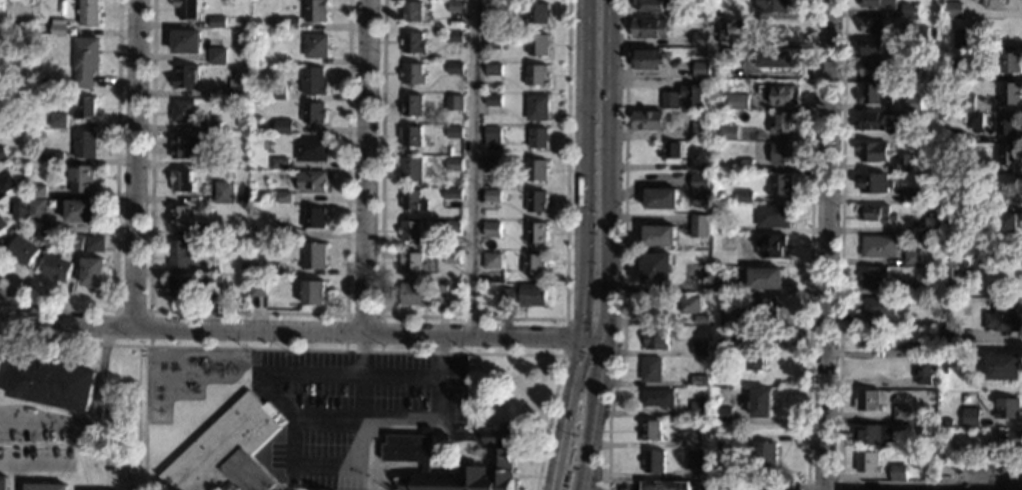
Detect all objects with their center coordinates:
building: (878, 3)
building: (990, 3)
building: (652, 5)
building: (459, 6)
building: (773, 6)
building: (190, 9)
building: (493, 9)
building: (318, 10)
building: (910, 10)
building: (954, 10)
building: (415, 12)
building: (91, 13)
building: (717, 13)
building: (540, 14)
building: (220, 22)
building: (293, 23)
building: (947, 23)
building: (975, 25)
building: (875, 26)
building: (61, 27)
building: (651, 28)
building: (730, 28)
building: (919, 33)
building: (456, 37)
building: (702, 39)
building: (962, 39)
building: (189, 41)
building: (494, 41)
building: (718, 41)
building: (416, 43)
building: (540, 44)
building: (319, 46)
building: (871, 47)
building: (1, 48)
building: (219, 55)
building: (918, 56)
building: (650, 59)
building: (776, 59)
building: (87, 61)
building: (1010, 63)
building: (457, 68)
building: (873, 68)
building: (495, 69)
building: (702, 69)
building: (724, 70)
building: (415, 74)
building: (917, 74)
building: (979, 74)
building: (539, 75)
building: (188, 76)
building: (316, 81)
building: (240, 88)
building: (281, 92)
building: (1011, 93)
building: (875, 94)
building: (786, 95)
building: (694, 96)
building: (495, 100)
building: (672, 100)
building: (739, 102)
building: (967, 102)
building: (456, 103)
building: (914, 103)
building: (415, 105)
building: (539, 108)
building: (88, 109)
building: (185, 111)
building: (316, 112)
building: (648, 120)
building: (975, 120)
building: (61, 121)
building: (871, 121)
building: (785, 123)
building: (1007, 123)
building: (285, 126)
building: (214, 127)
building: (700, 129)
building: (456, 132)
building: (730, 132)
building: (905, 133)
building: (495, 135)
building: (414, 136)
building: (540, 138)
building: (87, 144)
building: (188, 146)
building: (314, 149)
building: (873, 151)
building: (3, 153)
building: (672, 153)
building: (783, 153)
building: (1009, 154)
building: (43, 157)
building: (57, 157)
building: (216, 160)
building: (701, 160)
building: (905, 163)
building: (282, 164)
building: (456, 164)
building: (492, 164)
road: (139, 165)
building: (745, 165)
road: (366, 166)
building: (978, 166)
road: (474, 167)
road: (606, 168)
building: (413, 169)
building: (539, 170)
building: (83, 178)
building: (185, 181)
building: (315, 181)
building: (8, 183)
building: (874, 183)
building: (1009, 183)
building: (781, 184)
building: (701, 187)
building: (39, 191)
building: (225, 192)
building: (455, 194)
building: (494, 195)
building: (912, 195)
building: (745, 196)
building: (285, 197)
building: (662, 198)
building: (922, 199)
building: (415, 200)
building: (538, 201)
building: (22, 209)
building: (39, 209)
building: (82, 211)
building: (878, 213)
building: (774, 215)
building: (182, 216)
road: (118, 217)
building: (318, 218)
building: (1009, 223)
building: (3, 224)
building: (933, 225)
building: (701, 226)
building: (452, 227)
building: (493, 229)
building: (212, 231)
building: (413, 231)
building: (285, 232)
building: (538, 233)
building: (49, 235)
building: (660, 235)
road: (582, 236)
building: (79, 241)
building: (97, 243)
building: (724, 243)
building: (771, 244)
road: (828, 244)
road: (626, 245)
road: (811, 245)
road: (841, 245)
building: (879, 246)
building: (24, 251)
building: (945, 252)
building: (183, 254)
building: (705, 255)
building: (316, 256)
building: (912, 257)
building: (454, 258)
building: (493, 260)
building: (415, 263)
building: (535, 264)
building: (249, 266)
building: (260, 267)
building: (60, 268)
building: (215, 268)
building: (657, 268)
building: (95, 272)
building: (955, 272)
building: (766, 277)
building: (873, 277)
building: (215, 283)
building: (184, 286)
building: (260, 286)
building: (722, 286)
building: (909, 289)
building: (316, 292)
building: (423, 293)
building: (526, 295)
building: (703, 299)
building: (903, 301)
building: (956, 303)
building: (690, 304)
building: (764, 309)
road: (152, 310)
building: (878, 310)
road: (252, 312)
road: (364, 315)
road: (475, 317)
building: (1004, 317)
building: (702, 319)
building: (741, 322)
road: (298, 333)
building: (950, 334)
road: (563, 337)
building: (658, 339)
building: (740, 339)
building: (873, 339)
building: (5, 346)
building: (700, 347)
building: (920, 348)
road: (346, 351)
building: (949, 354)
building: (757, 360)
road: (598, 366)
building: (1005, 366)
building: (652, 370)
building: (926, 371)
building: (944, 371)
building: (699, 381)
building: (54, 383)
building: (704, 397)
road: (278, 398)
building: (658, 398)
building: (868, 401)
building: (761, 403)
building: (1009, 408)
building: (698, 409)
building: (904, 413)
building: (723, 414)
road: (329, 416)
building: (972, 417)
road: (139, 418)
road: (400, 418)
building: (981, 421)
road: (93, 423)
building: (931, 428)
building: (651, 430)
building: (874, 435)
building: (1012, 439)
building: (694, 440)
road: (584, 443)
building: (721, 444)
building: (229, 451)
building: (987, 451)
building: (765, 453)
road: (414, 455)
building: (694, 459)
building: (653, 461)
building: (869, 462)
road: (35, 463)
building: (475, 468)
building: (900, 473)
road: (17, 476)
road: (553, 480)
building: (4, 483)
building: (664, 485)
road: (925, 485)
building: (739, 486)
building: (48, 487)

